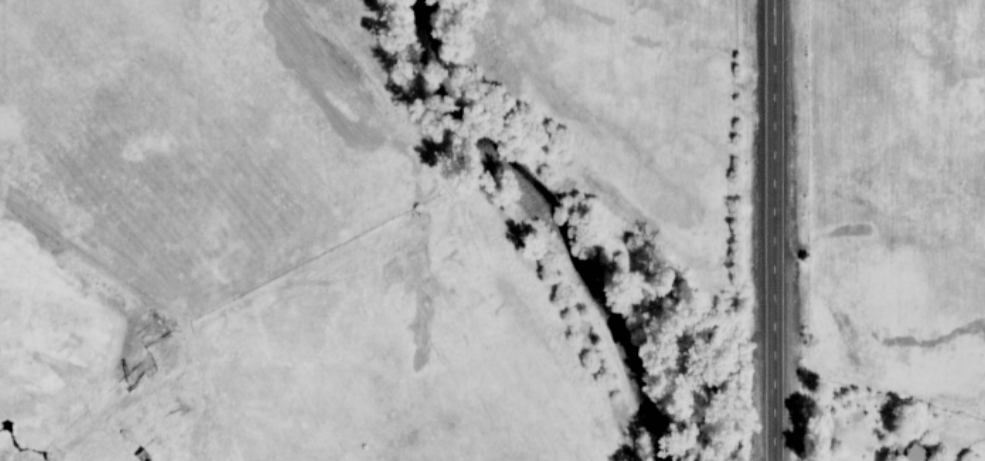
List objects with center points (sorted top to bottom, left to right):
road: (776, 230)
building: (916, 452)
building: (142, 455)

